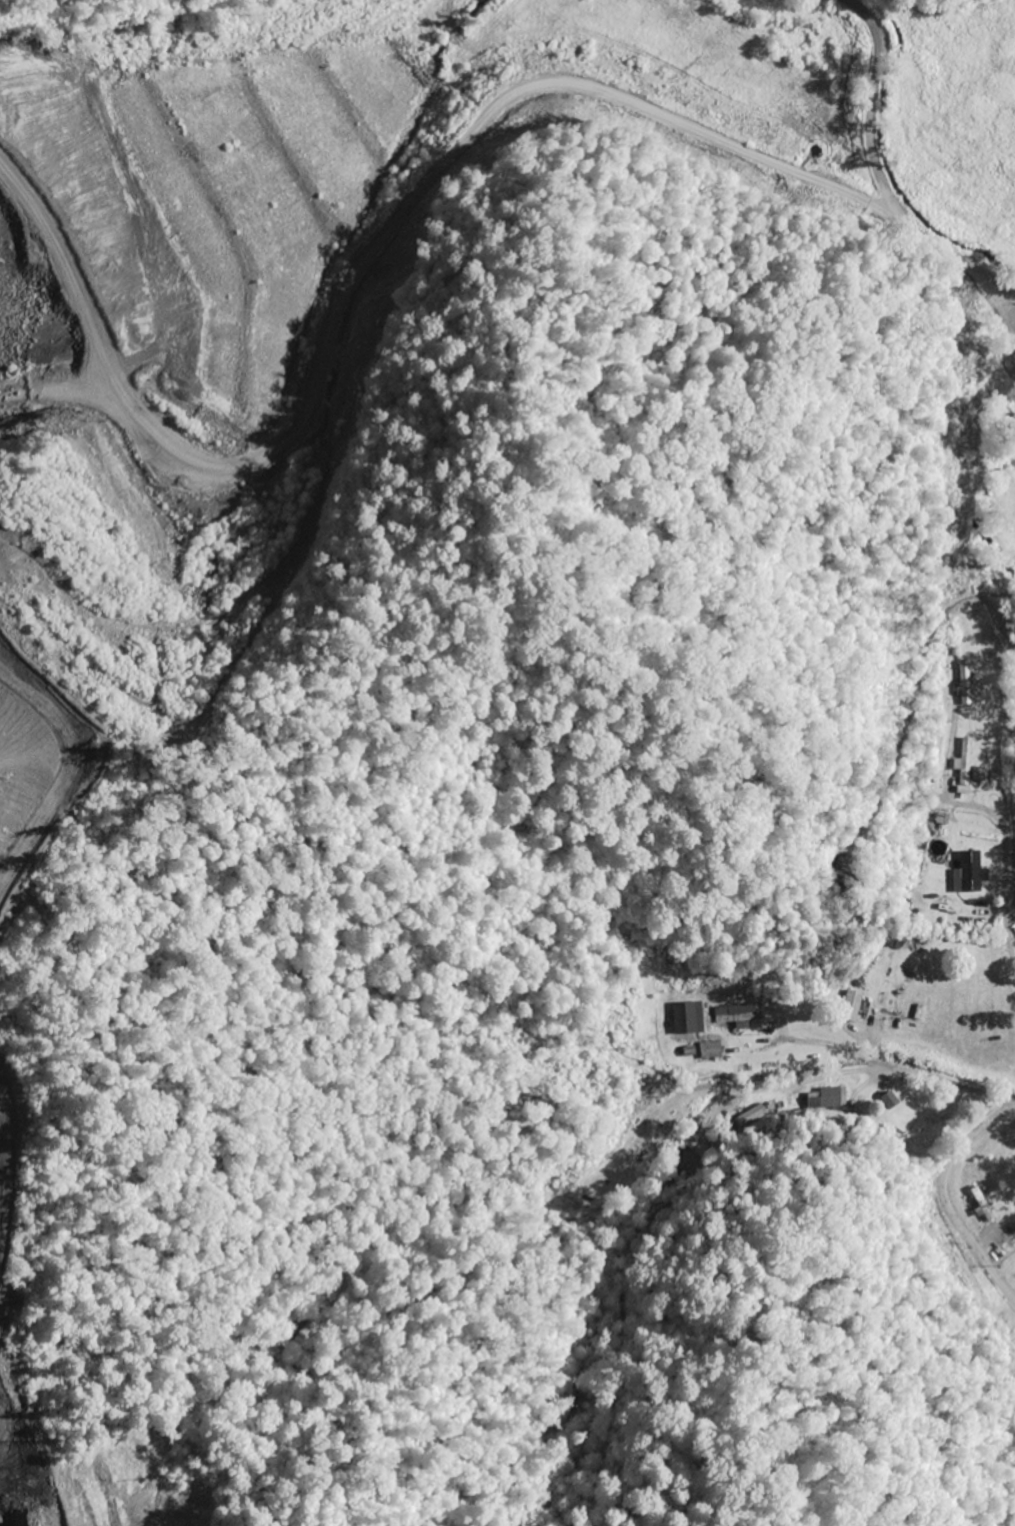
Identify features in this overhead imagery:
road: (880, 170)
building: (964, 683)
building: (966, 762)
building: (972, 873)
building: (851, 1006)
building: (734, 1013)
building: (710, 1049)
road: (974, 1096)
building: (828, 1098)
building: (751, 1116)
building: (672, 1179)
building: (984, 1204)

